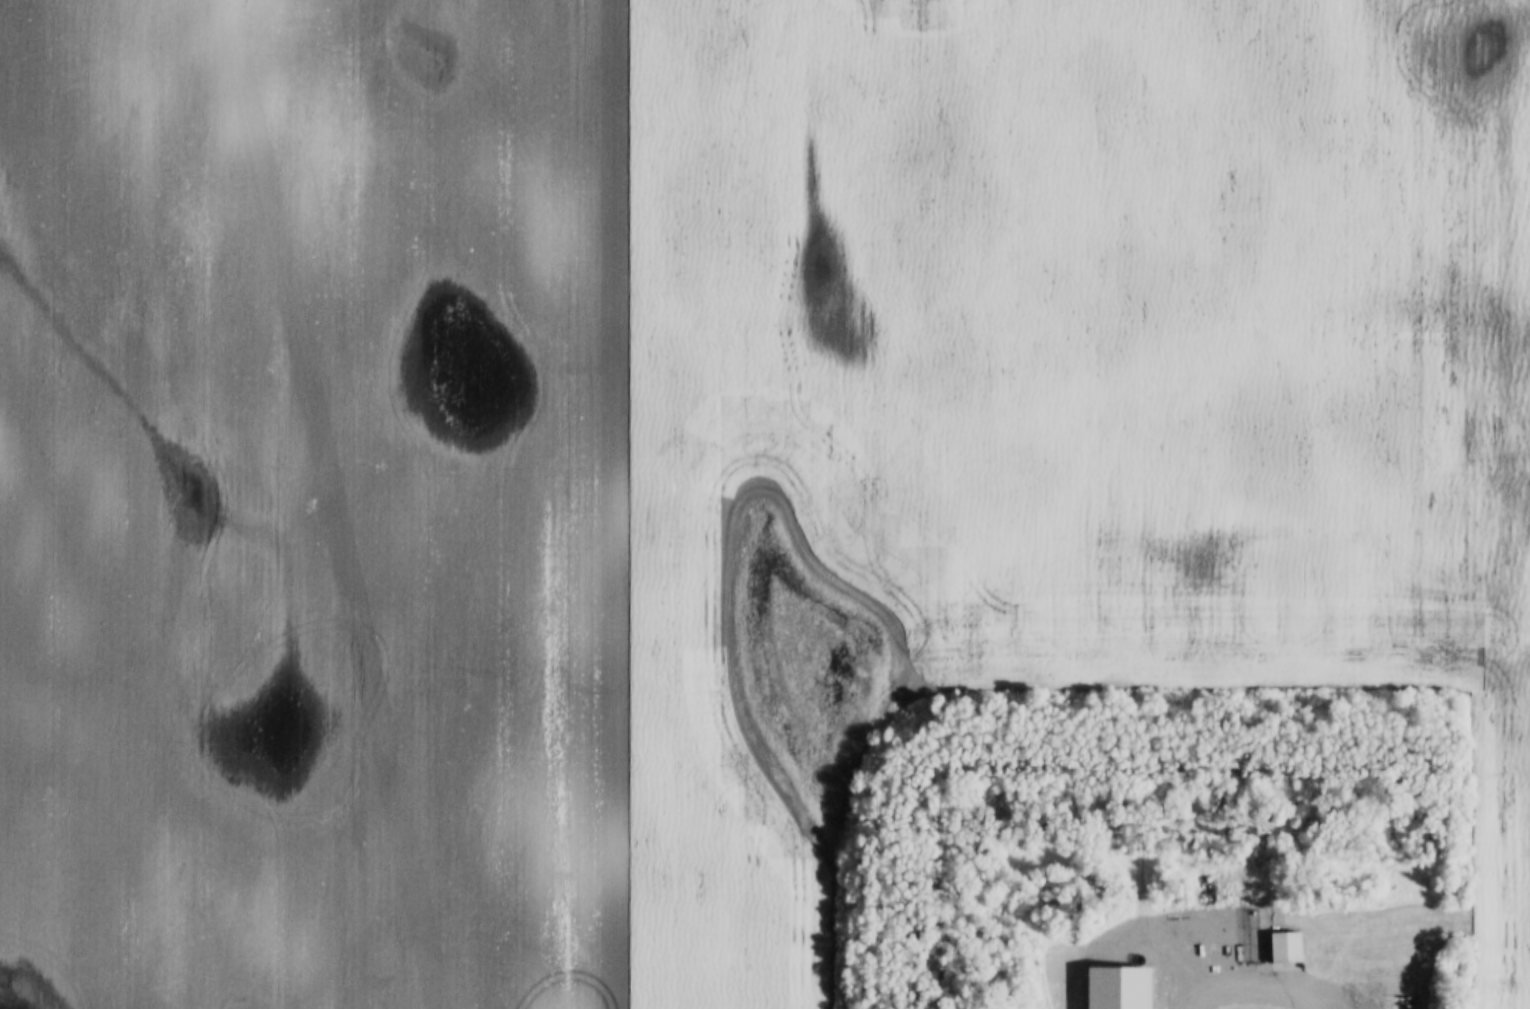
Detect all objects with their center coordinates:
building: (1285, 951)
road: (1252, 977)

